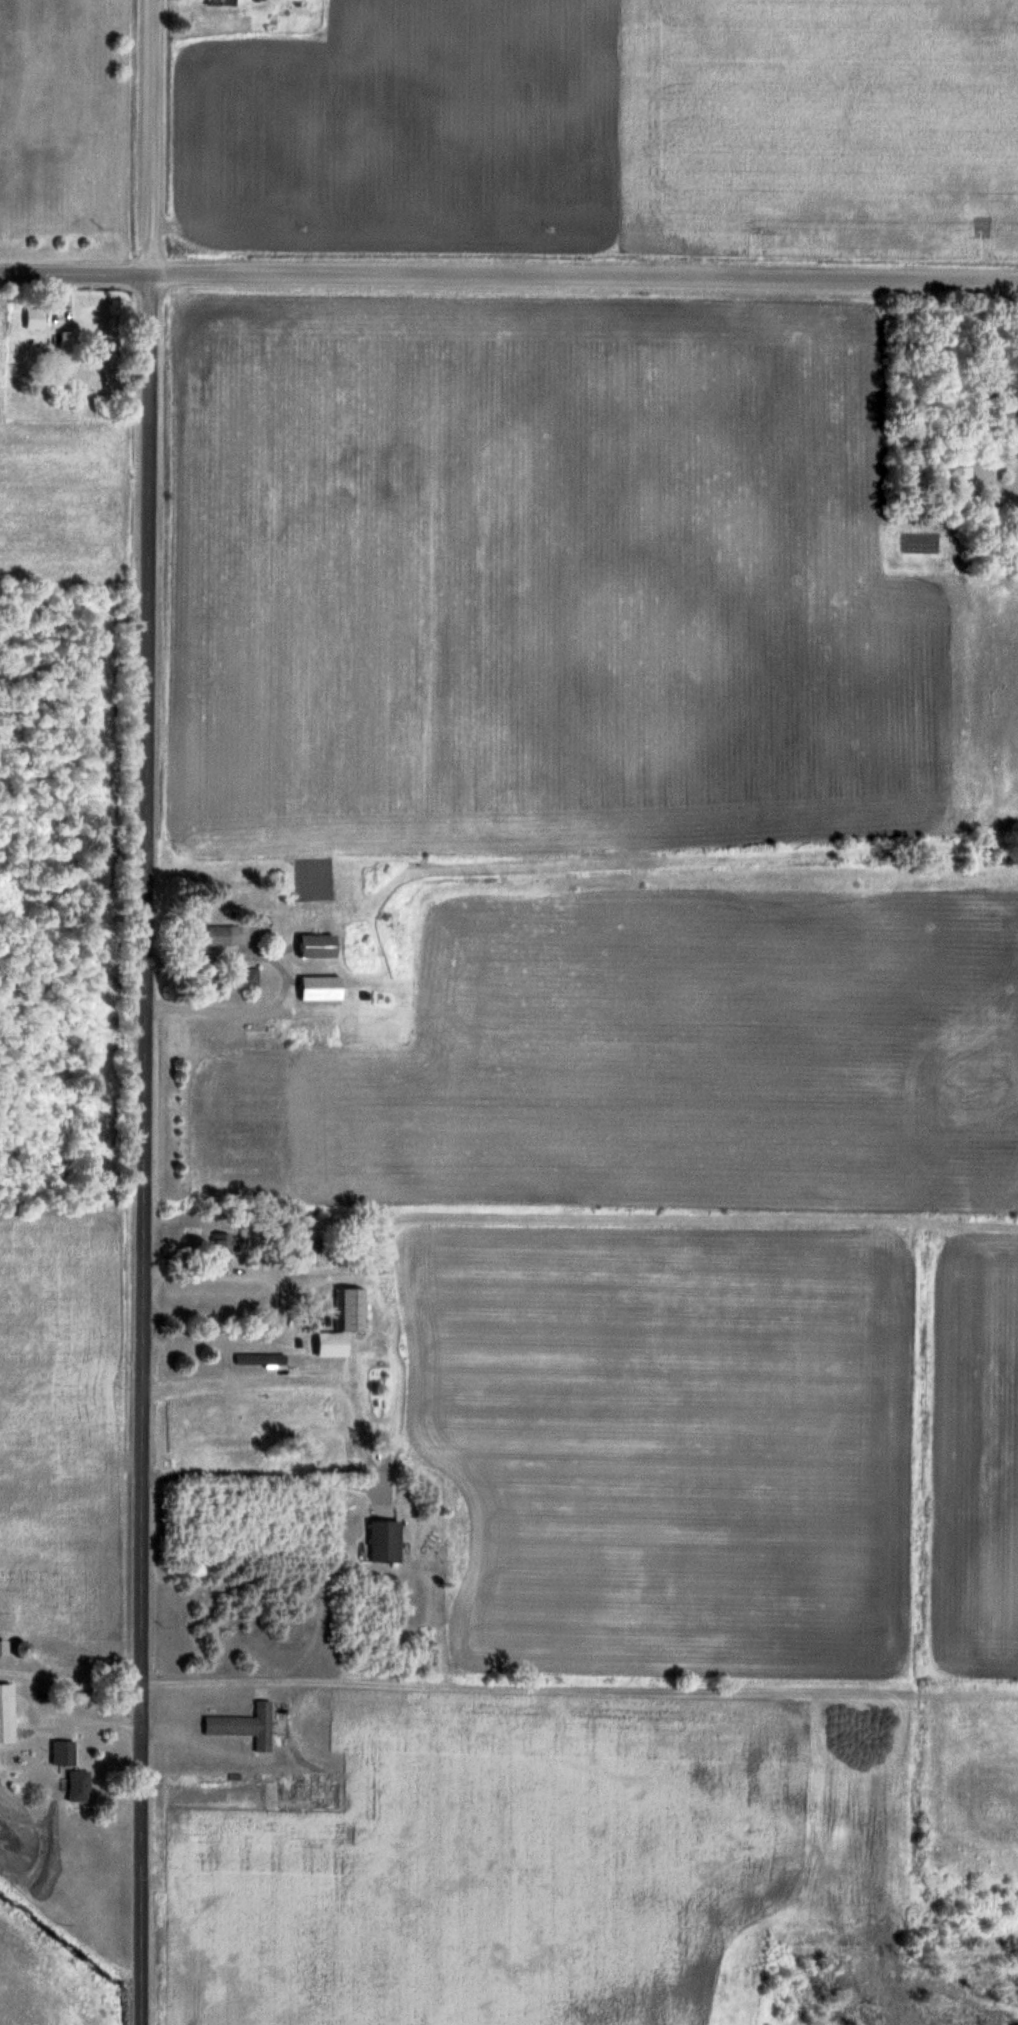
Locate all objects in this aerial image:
building: (223, 2)
road: (152, 138)
road: (75, 275)
road: (584, 279)
building: (71, 349)
building: (968, 472)
building: (221, 935)
building: (319, 946)
building: (251, 977)
building: (322, 988)
road: (147, 1150)
building: (224, 1244)
building: (346, 1323)
building: (267, 1359)
road: (264, 1475)
building: (386, 1540)
building: (23, 1649)
building: (7, 1713)
building: (246, 1725)
building: (64, 1754)
building: (80, 1786)

